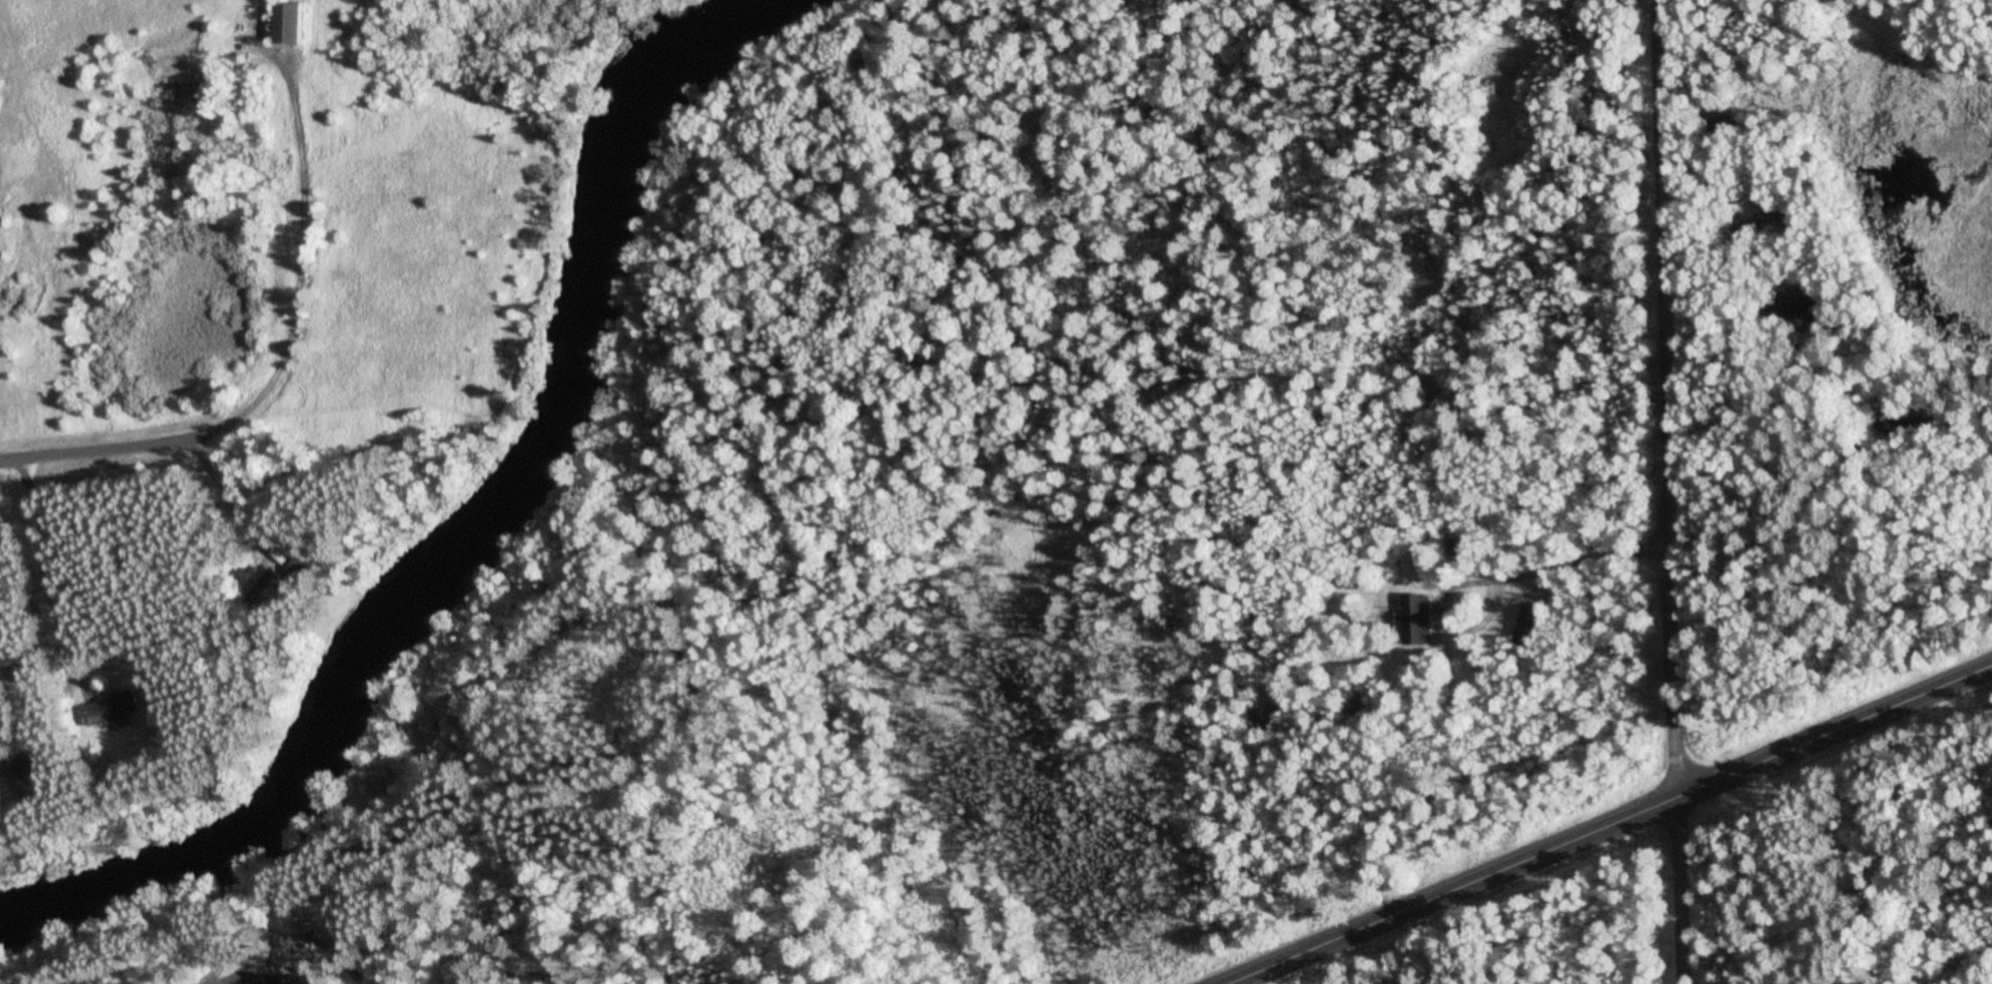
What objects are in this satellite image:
building: (293, 23)
road: (282, 382)
road: (1665, 402)
river: (462, 517)
building: (1420, 619)
building: (118, 709)
building: (39, 766)
road: (1614, 829)
road: (1676, 894)

